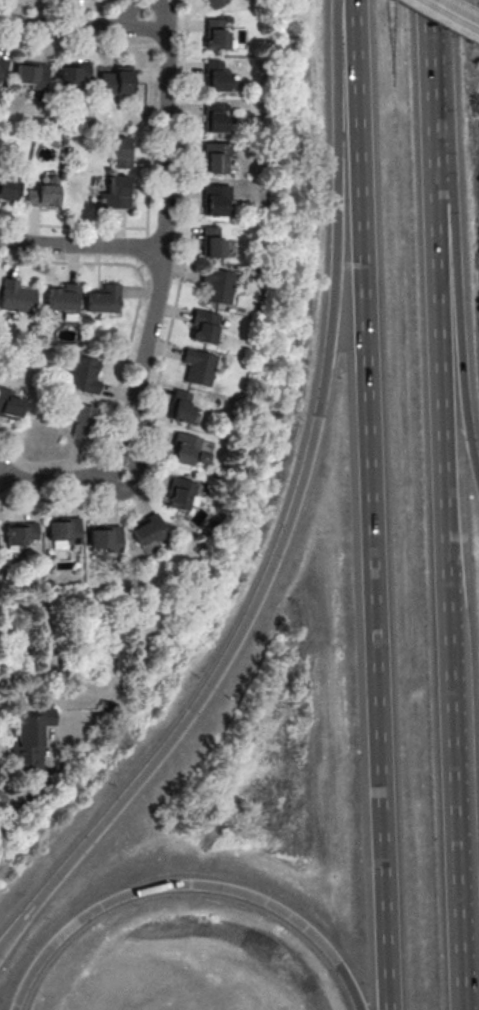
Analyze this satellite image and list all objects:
building: (214, 3)
road: (350, 4)
road: (78, 10)
road: (131, 11)
road: (454, 12)
road: (166, 16)
road: (436, 27)
building: (215, 36)
building: (2, 66)
building: (73, 74)
building: (30, 75)
building: (214, 77)
building: (114, 80)
building: (214, 119)
building: (118, 152)
building: (213, 160)
road: (166, 173)
building: (8, 189)
building: (115, 192)
building: (41, 195)
building: (215, 200)
road: (147, 225)
building: (211, 244)
road: (81, 246)
road: (460, 261)
road: (69, 264)
building: (218, 287)
building: (16, 299)
building: (62, 299)
building: (103, 299)
road: (169, 326)
building: (202, 327)
building: (199, 368)
building: (83, 374)
building: (9, 404)
building: (180, 406)
building: (80, 421)
building: (188, 450)
road: (56, 481)
building: (180, 494)
road: (291, 523)
building: (147, 530)
road: (450, 532)
building: (20, 533)
building: (62, 533)
building: (104, 538)
building: (30, 740)
road: (23, 803)

